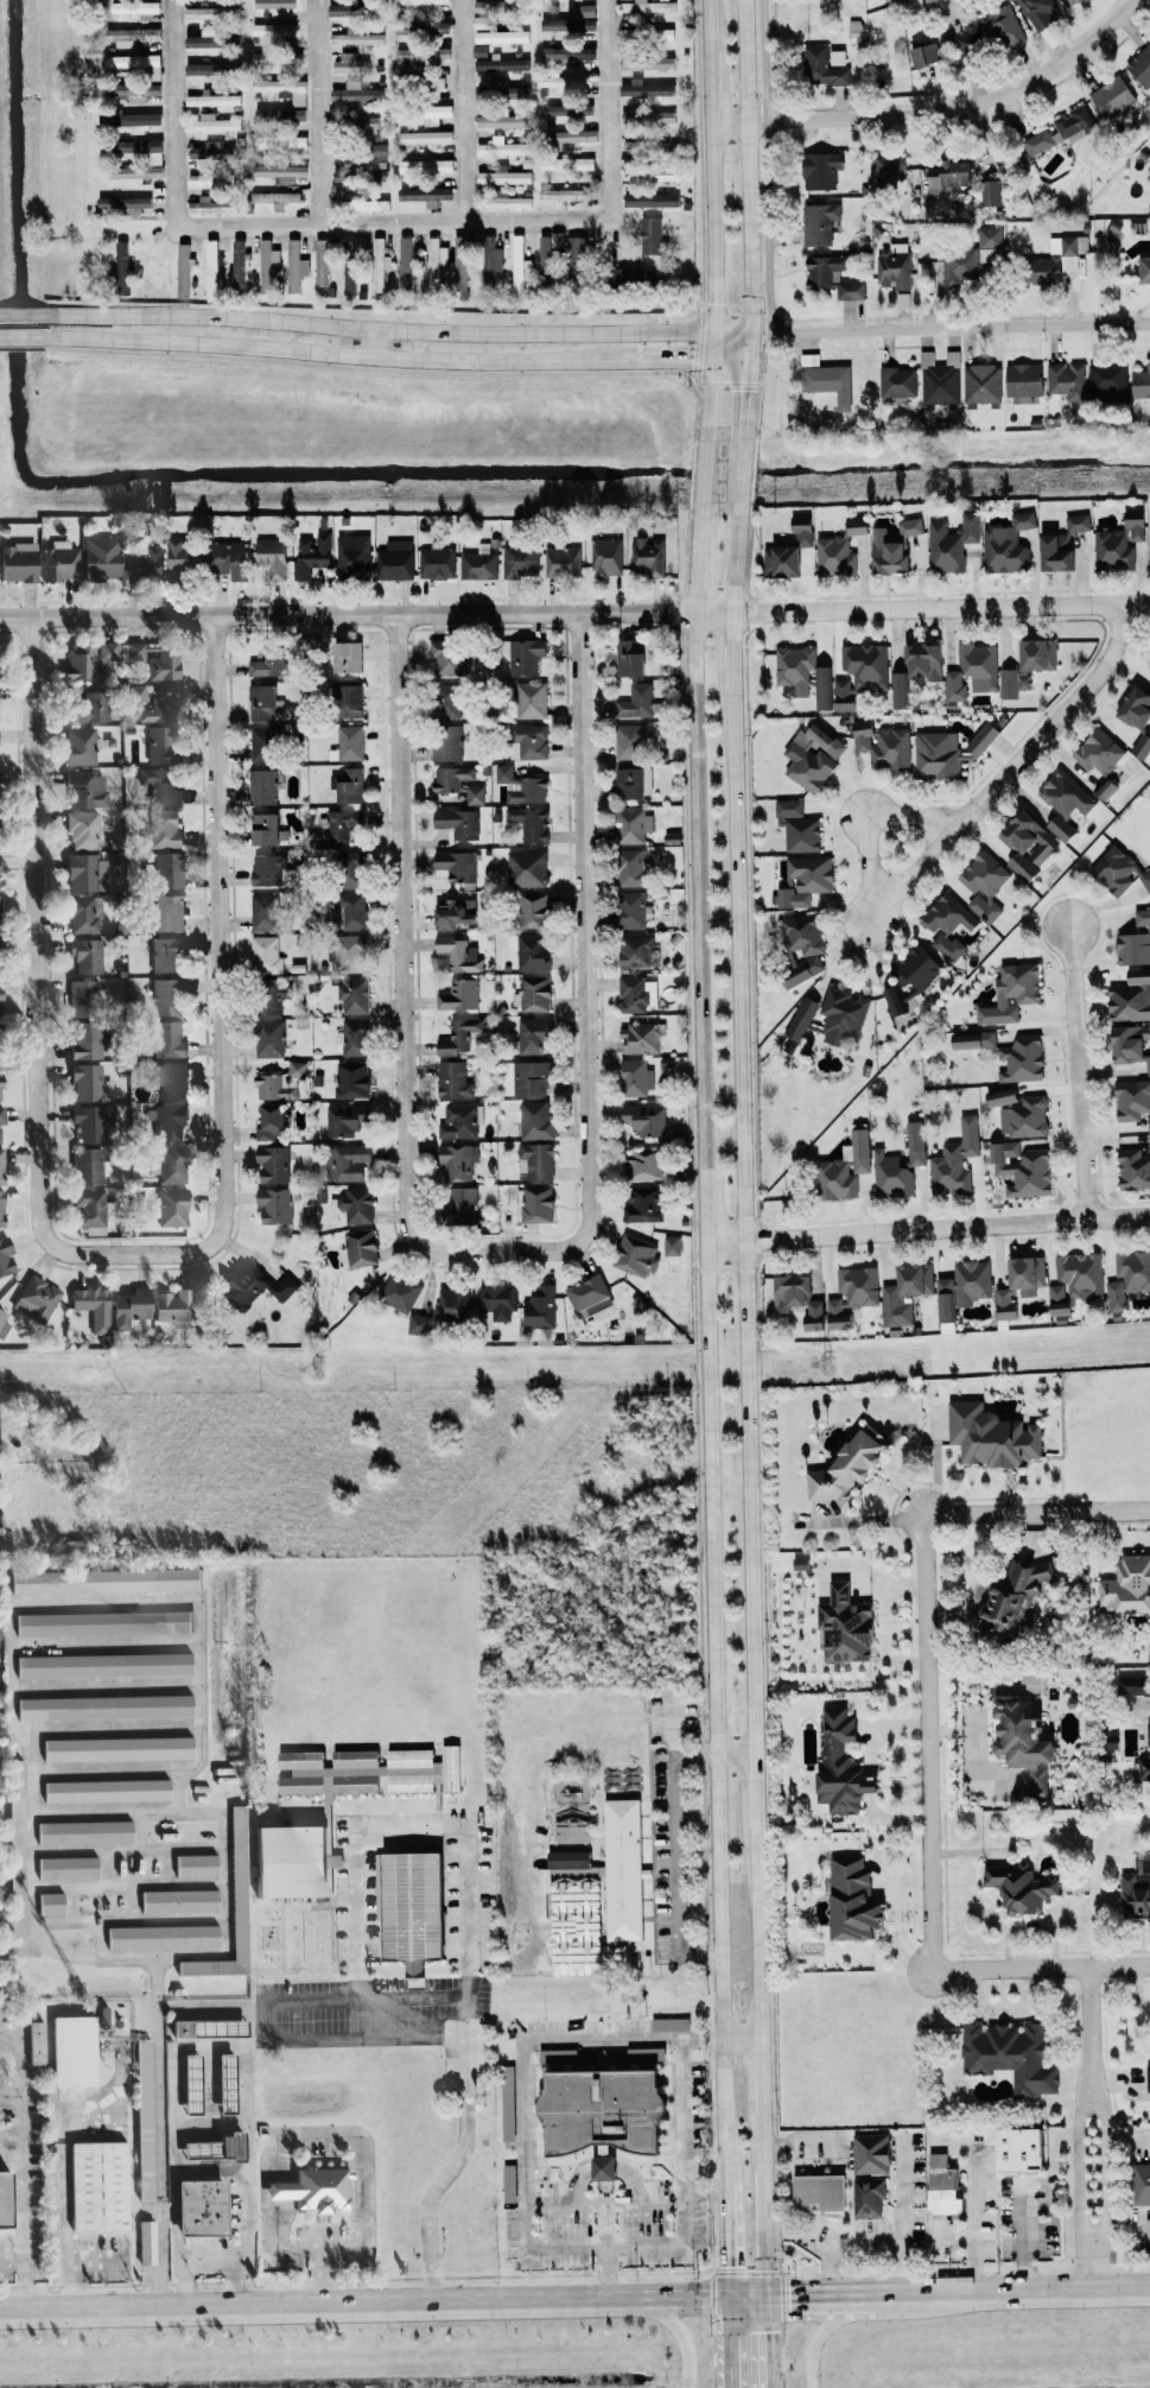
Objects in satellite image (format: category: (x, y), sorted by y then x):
building: (551, 0)
building: (417, 1)
building: (1072, 1)
building: (275, 6)
building: (496, 6)
building: (648, 6)
building: (136, 8)
building: (587, 9)
building: (1038, 12)
building: (211, 13)
building: (479, 21)
building: (560, 24)
building: (587, 25)
building: (273, 28)
building: (1004, 28)
building: (647, 32)
building: (132, 33)
building: (502, 36)
building: (356, 37)
building: (214, 39)
building: (967, 42)
building: (422, 53)
building: (570, 53)
building: (926, 55)
building: (275, 58)
building: (496, 61)
building: (647, 62)
building: (350, 63)
building: (138, 64)
building: (205, 64)
building: (824, 65)
building: (1141, 65)
building: (437, 81)
building: (566, 82)
building: (282, 88)
building: (648, 89)
building: (140, 91)
building: (357, 91)
building: (503, 93)
building: (1112, 96)
building: (212, 99)
building: (570, 109)
road: (939, 112)
building: (436, 113)
road: (471, 113)
building: (279, 114)
road: (322, 114)
building: (648, 116)
building: (131, 118)
building: (503, 120)
building: (1075, 122)
building: (212, 123)
building: (572, 135)
building: (426, 138)
building: (280, 141)
building: (1040, 141)
building: (503, 147)
building: (377, 148)
building: (215, 152)
building: (157, 158)
building: (567, 163)
building: (426, 165)
road: (745, 165)
road: (765, 166)
building: (890, 169)
building: (821, 170)
building: (280, 172)
building: (362, 173)
building: (652, 173)
building: (946, 175)
building: (503, 176)
building: (1149, 176)
building: (214, 178)
building: (564, 191)
building: (989, 191)
building: (426, 194)
building: (275, 198)
building: (506, 199)
building: (652, 199)
building: (125, 202)
building: (366, 203)
building: (212, 205)
road: (710, 220)
building: (819, 222)
road: (395, 227)
building: (650, 235)
building: (990, 243)
building: (547, 254)
building: (578, 254)
building: (1057, 259)
building: (406, 261)
building: (121, 262)
building: (320, 262)
building: (436, 262)
building: (267, 264)
building: (381, 264)
building: (491, 264)
building: (520, 264)
building: (462, 265)
building: (239, 266)
building: (296, 266)
building: (895, 266)
building: (960, 266)
building: (212, 270)
building: (1144, 270)
building: (154, 271)
building: (184, 271)
building: (629, 275)
building: (832, 277)
road: (21, 313)
road: (965, 328)
road: (394, 329)
traffic signals: (712, 332)
traffic signals: (748, 332)
road: (21, 340)
road: (377, 343)
road: (746, 344)
road: (336, 353)
traffic signals: (746, 357)
road: (729, 359)
road: (671, 360)
traffic signals: (711, 360)
building: (940, 378)
building: (826, 379)
building: (1068, 380)
building: (1023, 381)
building: (1108, 381)
building: (898, 382)
building: (1141, 382)
building: (983, 384)
road: (744, 398)
road: (741, 477)
road: (704, 479)
building: (1078, 522)
building: (857, 526)
building: (910, 526)
building: (952, 543)
building: (1008, 545)
building: (1118, 546)
building: (312, 553)
building: (788, 553)
building: (888, 553)
building: (1055, 555)
building: (273, 556)
building: (648, 556)
building: (183, 557)
building: (354, 557)
building: (606, 557)
building: (836, 557)
building: (102, 558)
building: (229, 559)
building: (61, 560)
building: (395, 560)
building: (521, 560)
building: (19, 562)
building: (563, 562)
road: (735, 562)
building: (437, 563)
building: (479, 563)
building: (146, 564)
road: (940, 606)
road: (366, 613)
road: (732, 654)
building: (526, 655)
building: (349, 657)
building: (445, 657)
building: (631, 657)
building: (154, 658)
building: (89, 659)
building: (925, 660)
building: (269, 661)
building: (1149, 664)
building: (1029, 665)
building: (972, 670)
building: (859, 672)
building: (803, 673)
building: (898, 690)
building: (450, 699)
building: (530, 699)
building: (349, 701)
building: (636, 701)
building: (263, 702)
building: (91, 707)
building: (1136, 708)
building: (161, 709)
road: (1048, 723)
building: (983, 739)
building: (529, 741)
building: (631, 741)
building: (350, 742)
building: (447, 742)
building: (266, 743)
building: (81, 745)
building: (164, 745)
building: (883, 745)
building: (1142, 746)
building: (1099, 752)
building: (813, 755)
building: (936, 755)
building: (503, 773)
building: (452, 778)
building: (634, 781)
building: (349, 785)
building: (161, 786)
building: (263, 786)
building: (87, 787)
building: (1106, 787)
building: (529, 790)
building: (476, 794)
building: (1066, 794)
road: (865, 812)
building: (459, 823)
building: (532, 823)
building: (634, 824)
building: (345, 825)
building: (798, 825)
building: (1061, 828)
building: (84, 829)
building: (165, 829)
building: (266, 829)
building: (1029, 837)
road: (866, 862)
building: (457, 864)
building: (634, 867)
building: (352, 868)
building: (527, 868)
building: (271, 869)
building: (170, 870)
building: (1118, 870)
building: (87, 873)
building: (806, 880)
building: (984, 883)
building: (0, 889)
road: (873, 902)
building: (534, 908)
building: (635, 910)
building: (355, 911)
building: (170, 912)
building: (266, 912)
building: (455, 912)
building: (85, 913)
building: (0, 914)
building: (947, 924)
building: (1135, 942)
building: (802, 946)
building: (637, 951)
building: (166, 952)
building: (350, 952)
building: (532, 952)
building: (266, 954)
building: (458, 954)
building: (87, 955)
road: (399, 968)
road: (36, 970)
road: (584, 973)
road: (217, 974)
building: (910, 977)
building: (535, 993)
building: (637, 993)
building: (1011, 993)
building: (351, 994)
building: (459, 995)
building: (167, 996)
building: (84, 997)
building: (1131, 997)
building: (1, 999)
building: (843, 1014)
building: (802, 1018)
building: (533, 1033)
building: (459, 1035)
building: (354, 1037)
building: (641, 1038)
building: (169, 1039)
building: (271, 1039)
building: (88, 1040)
building: (1130, 1044)
building: (1008, 1053)
road: (1080, 1070)
building: (528, 1077)
building: (636, 1077)
building: (352, 1079)
building: (172, 1081)
building: (455, 1081)
building: (90, 1082)
building: (281, 1082)
building: (1, 1088)
building: (1002, 1096)
building: (1132, 1100)
building: (1, 1117)
building: (1024, 1117)
building: (348, 1120)
building: (536, 1120)
building: (646, 1120)
building: (171, 1121)
building: (460, 1121)
building: (93, 1122)
building: (272, 1122)
building: (916, 1142)
building: (860, 1149)
building: (955, 1159)
building: (347, 1161)
building: (458, 1161)
building: (536, 1161)
building: (173, 1164)
building: (273, 1164)
building: (643, 1165)
building: (2, 1166)
building: (90, 1166)
building: (1022, 1167)
building: (1133, 1168)
building: (891, 1174)
building: (836, 1178)
building: (538, 1203)
building: (356, 1204)
building: (459, 1204)
building: (644, 1204)
building: (275, 1205)
building: (172, 1206)
building: (93, 1208)
building: (2, 1209)
road: (1119, 1215)
road: (743, 1228)
road: (896, 1229)
building: (672, 1244)
building: (361, 1247)
building: (636, 1255)
building: (6, 1256)
building: (1081, 1274)
building: (1127, 1278)
building: (1019, 1284)
building: (255, 1286)
building: (962, 1287)
building: (400, 1292)
building: (906, 1293)
building: (852, 1294)
building: (38, 1298)
building: (591, 1298)
building: (799, 1298)
building: (1059, 1299)
building: (500, 1301)
building: (94, 1305)
building: (174, 1305)
building: (453, 1305)
building: (132, 1306)
building: (540, 1309)
building: (4, 1324)
building: (419, 1324)
power tower: (826, 1363)
power tower: (318, 1366)
road: (709, 1414)
building: (991, 1436)
building: (846, 1470)
road: (1118, 1512)
building: (107, 1581)
building: (1127, 1586)
building: (1011, 1597)
building: (104, 1622)
building: (845, 1626)
building: (104, 1664)
building: (1136, 1685)
building: (106, 1706)
building: (1148, 1735)
road: (929, 1741)
building: (1024, 1742)
building: (119, 1748)
road: (735, 1757)
building: (841, 1763)
building: (1144, 1767)
building: (370, 1771)
building: (107, 1790)
road: (752, 1791)
building: (85, 1831)
building: (18, 1857)
building: (292, 1861)
road: (675, 1861)
building: (197, 1866)
building: (69, 1868)
building: (623, 1869)
building: (240, 1882)
building: (1021, 1887)
building: (541, 1894)
building: (1136, 1894)
building: (853, 1899)
building: (180, 1900)
building: (56, 1902)
building: (415, 1906)
road: (470, 1921)
road: (756, 1931)
building: (164, 1937)
road: (1120, 1965)
road: (369, 1997)
parking lot: (363, 2013)
building: (104, 2016)
building: (210, 2027)
road: (1091, 2029)
road: (368, 2032)
road: (741, 2038)
road: (703, 2039)
road: (601, 2040)
building: (37, 2042)
road: (209, 2045)
building: (74, 2051)
building: (1012, 2056)
road: (18, 2065)
road: (758, 2075)
building: (1148, 2077)
building: (228, 2083)
building: (193, 2084)
building: (609, 2111)
building: (145, 2118)
road: (159, 2135)
road: (343, 2137)
building: (217, 2147)
building: (1021, 2148)
building: (871, 2153)
road: (705, 2166)
road: (1082, 2166)
road: (1103, 2166)
building: (604, 2167)
building: (1142, 2184)
building: (100, 2186)
building: (943, 2186)
building: (323, 2190)
road: (23, 2191)
building: (820, 2192)
building: (869, 2197)
building: (5, 2199)
road: (59, 2202)
road: (762, 2203)
building: (203, 2208)
road: (972, 2218)
road: (904, 2219)
road: (1024, 2236)
building: (147, 2242)
road: (819, 2244)
road: (603, 2253)
road: (12, 2256)
road: (208, 2259)
road: (1094, 2263)
traffic signals: (726, 2265)
road: (604, 2275)
traffic signals: (789, 2297)
road: (574, 2298)
road: (832, 2317)
traffic signals: (764, 2331)
road: (679, 2332)
road: (764, 2342)
road: (728, 2350)

